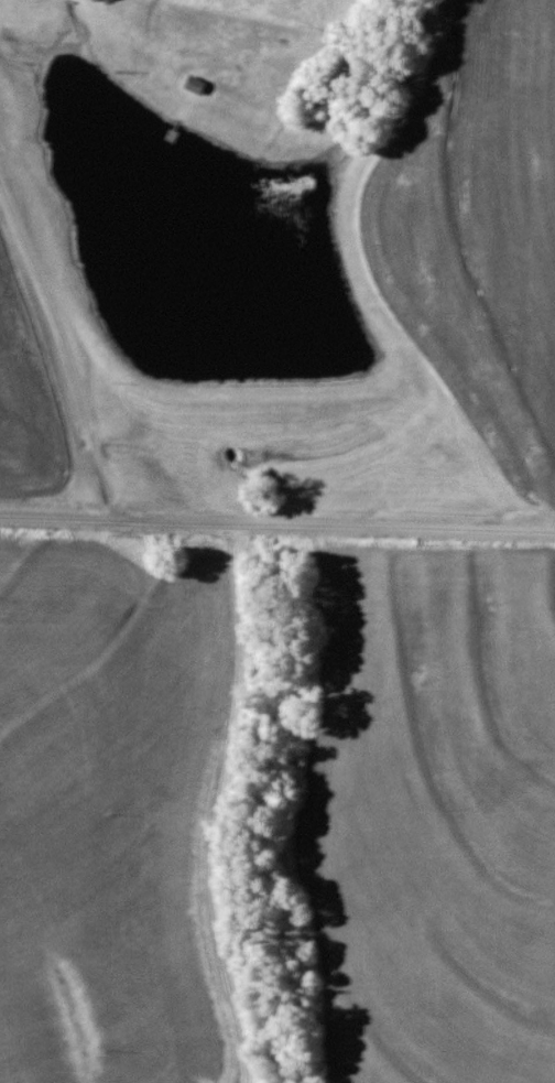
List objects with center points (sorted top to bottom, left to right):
building: (195, 85)
road: (65, 345)
road: (276, 523)
road: (216, 803)

